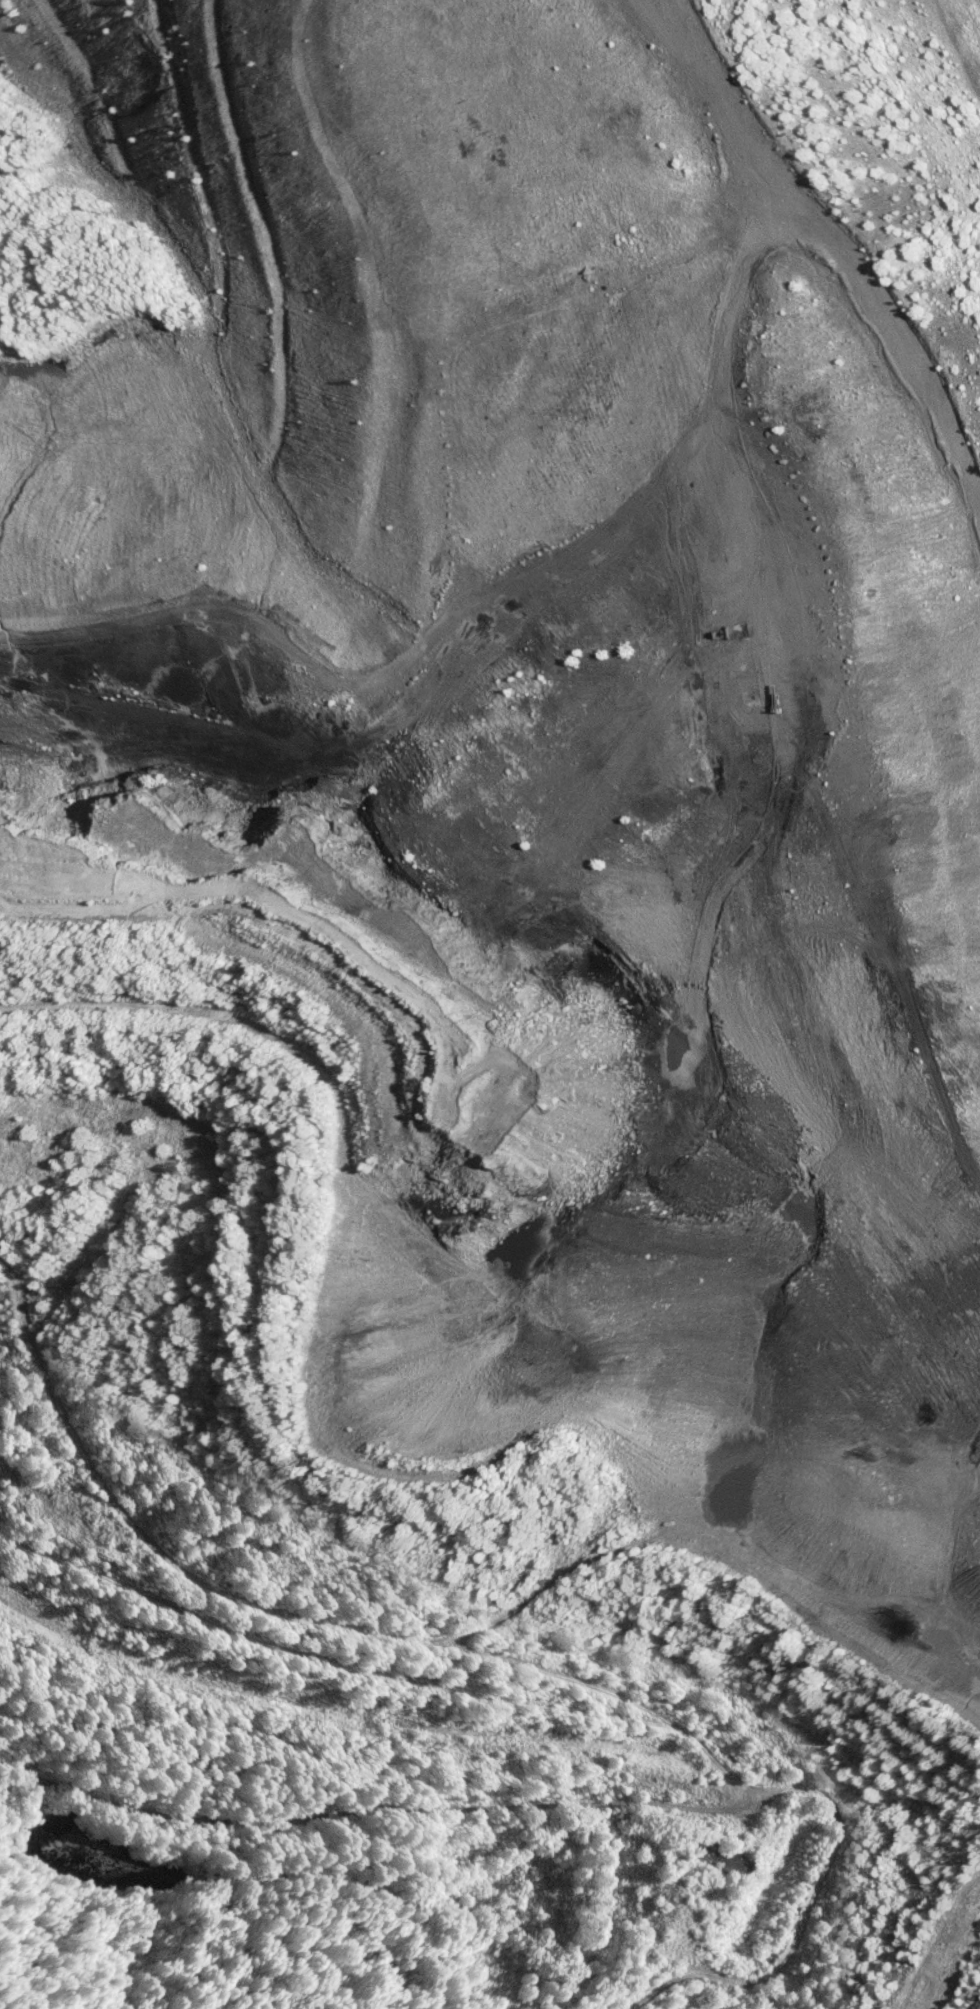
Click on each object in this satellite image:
quarry: (555, 725)
quarry: (4, 1185)
quarry: (945, 1951)

